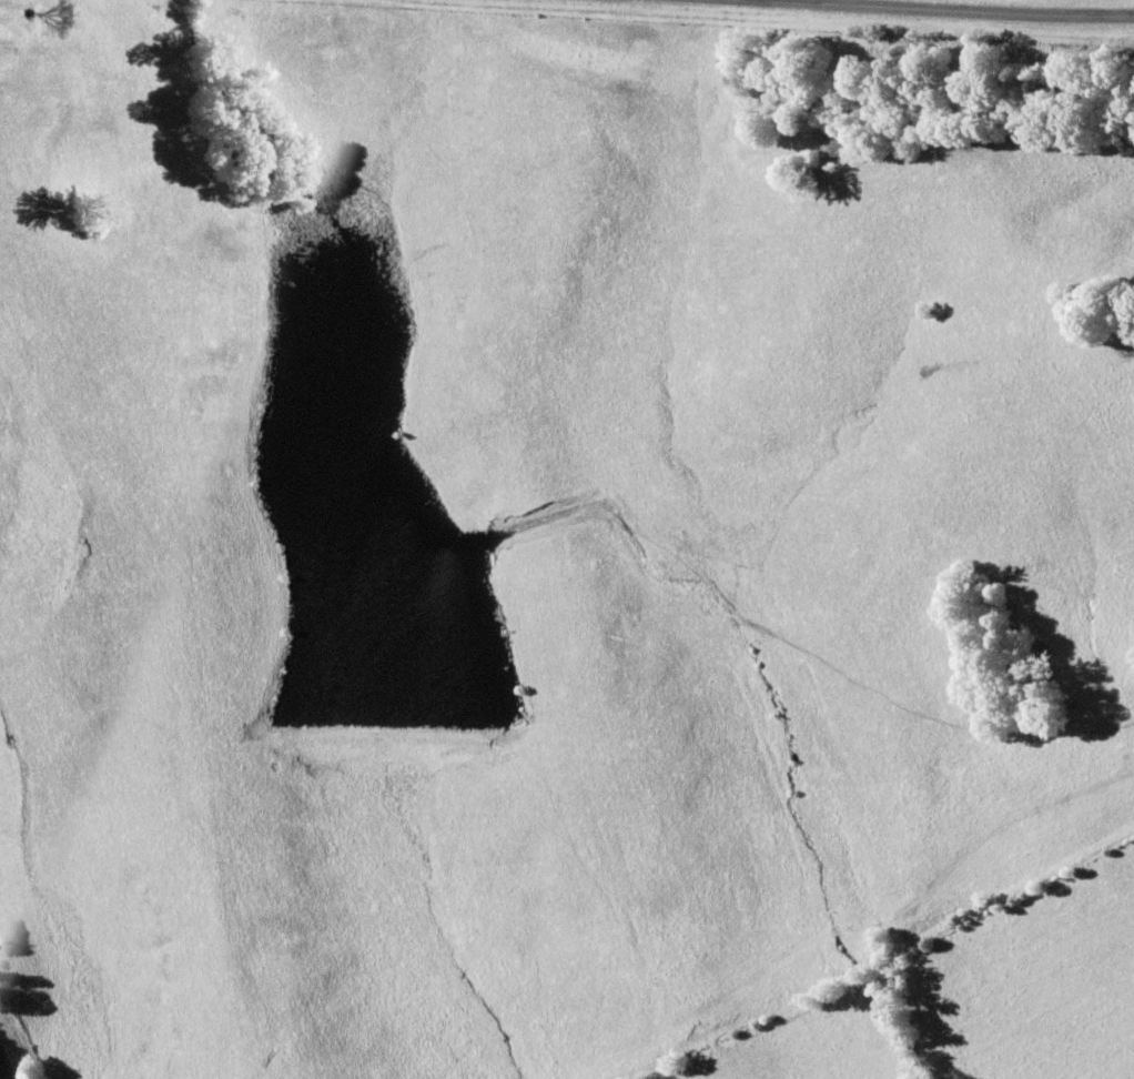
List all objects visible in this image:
road: (940, 10)
road: (2, 1071)

